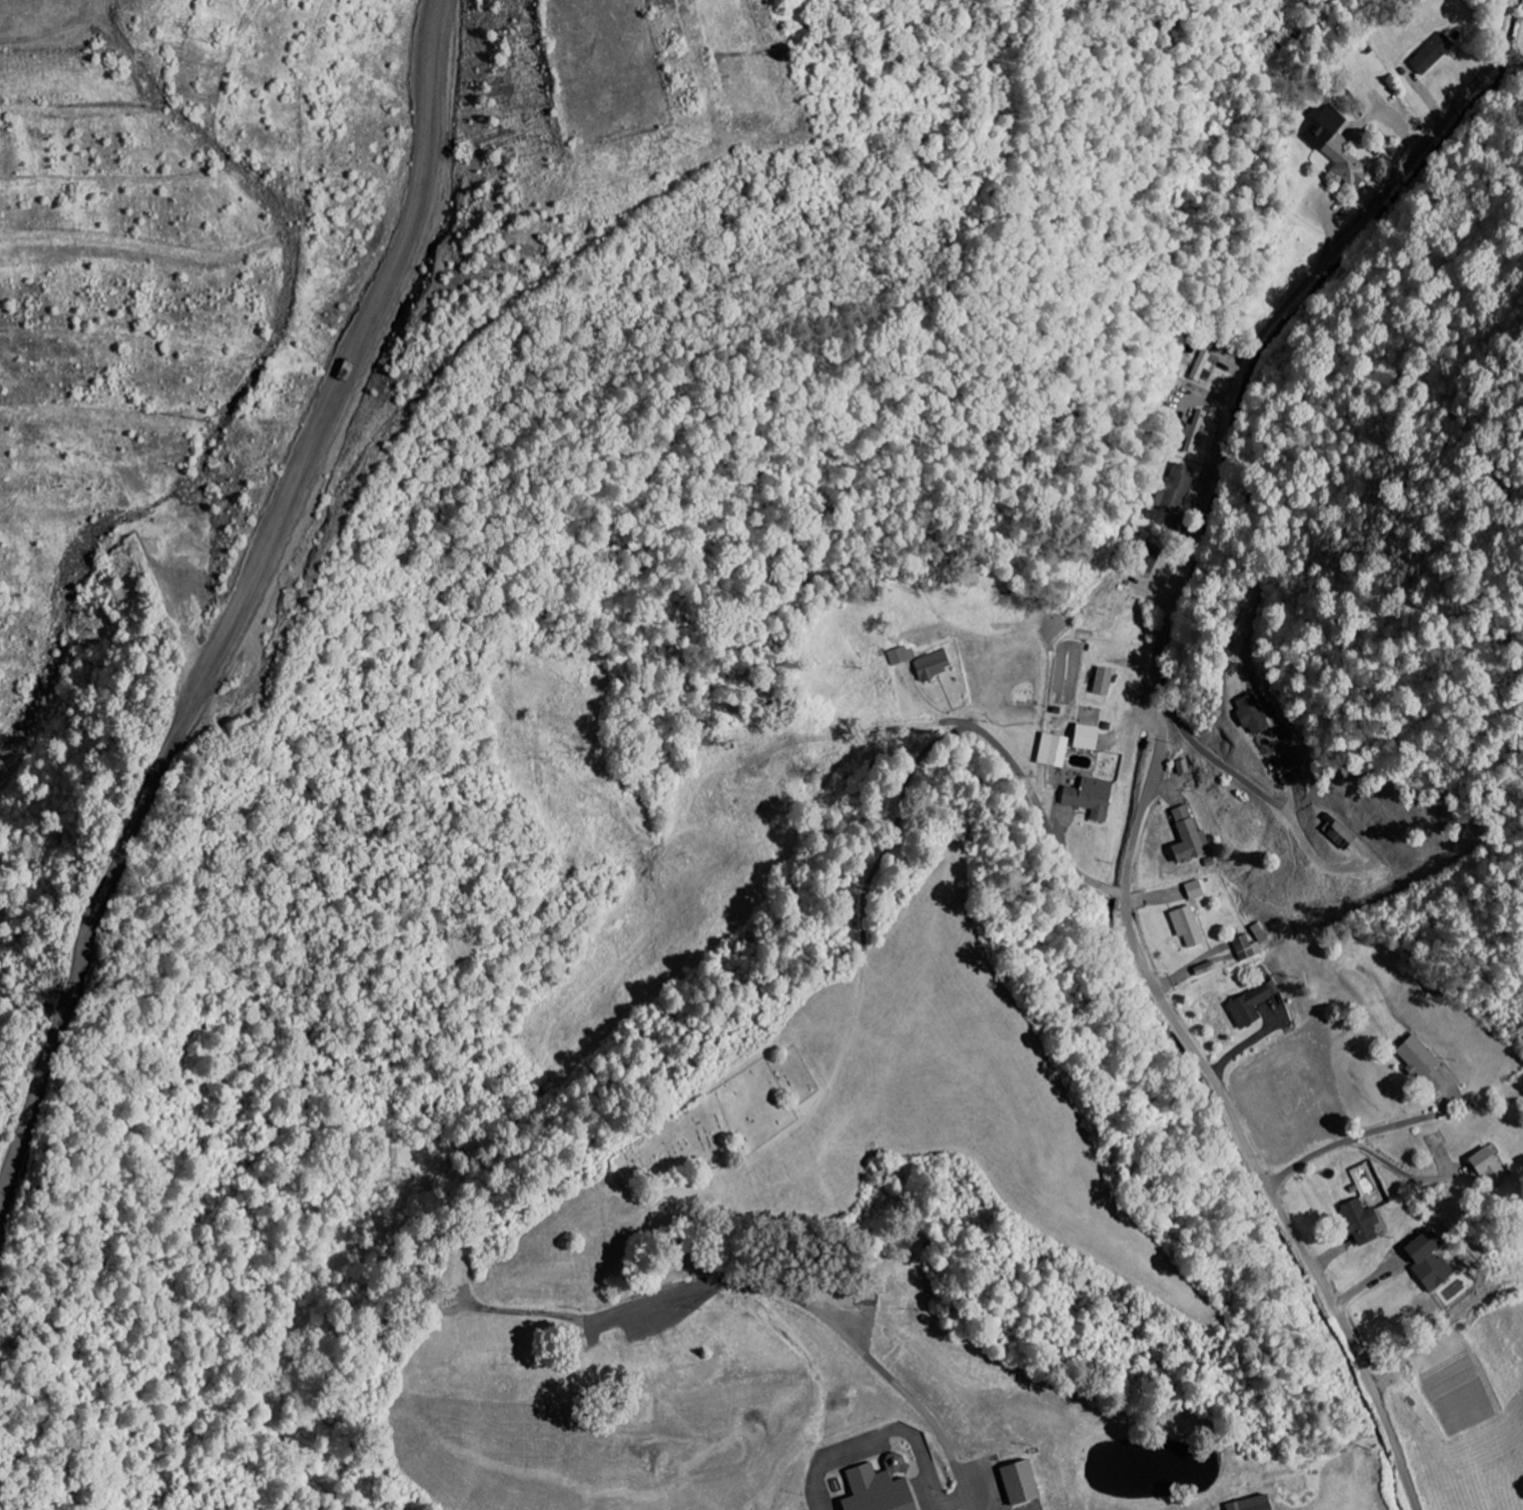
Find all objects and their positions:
building: (1435, 54)
building: (1337, 144)
building: (1206, 365)
quarry: (388, 372)
building: (1198, 425)
building: (904, 655)
building: (934, 665)
building: (1105, 681)
building: (1254, 714)
building: (1089, 737)
road: (1155, 738)
building: (1056, 750)
building: (1093, 797)
road: (1042, 811)
building: (1191, 836)
building: (1197, 890)
building: (1190, 926)
building: (1248, 948)
road: (866, 968)
building: (1208, 968)
building: (1253, 1004)
building: (1425, 1063)
building: (1492, 1168)
building: (1363, 1222)
building: (1432, 1261)
road: (824, 1314)
building: (1023, 1483)
building: (880, 1491)
building: (1255, 1504)

